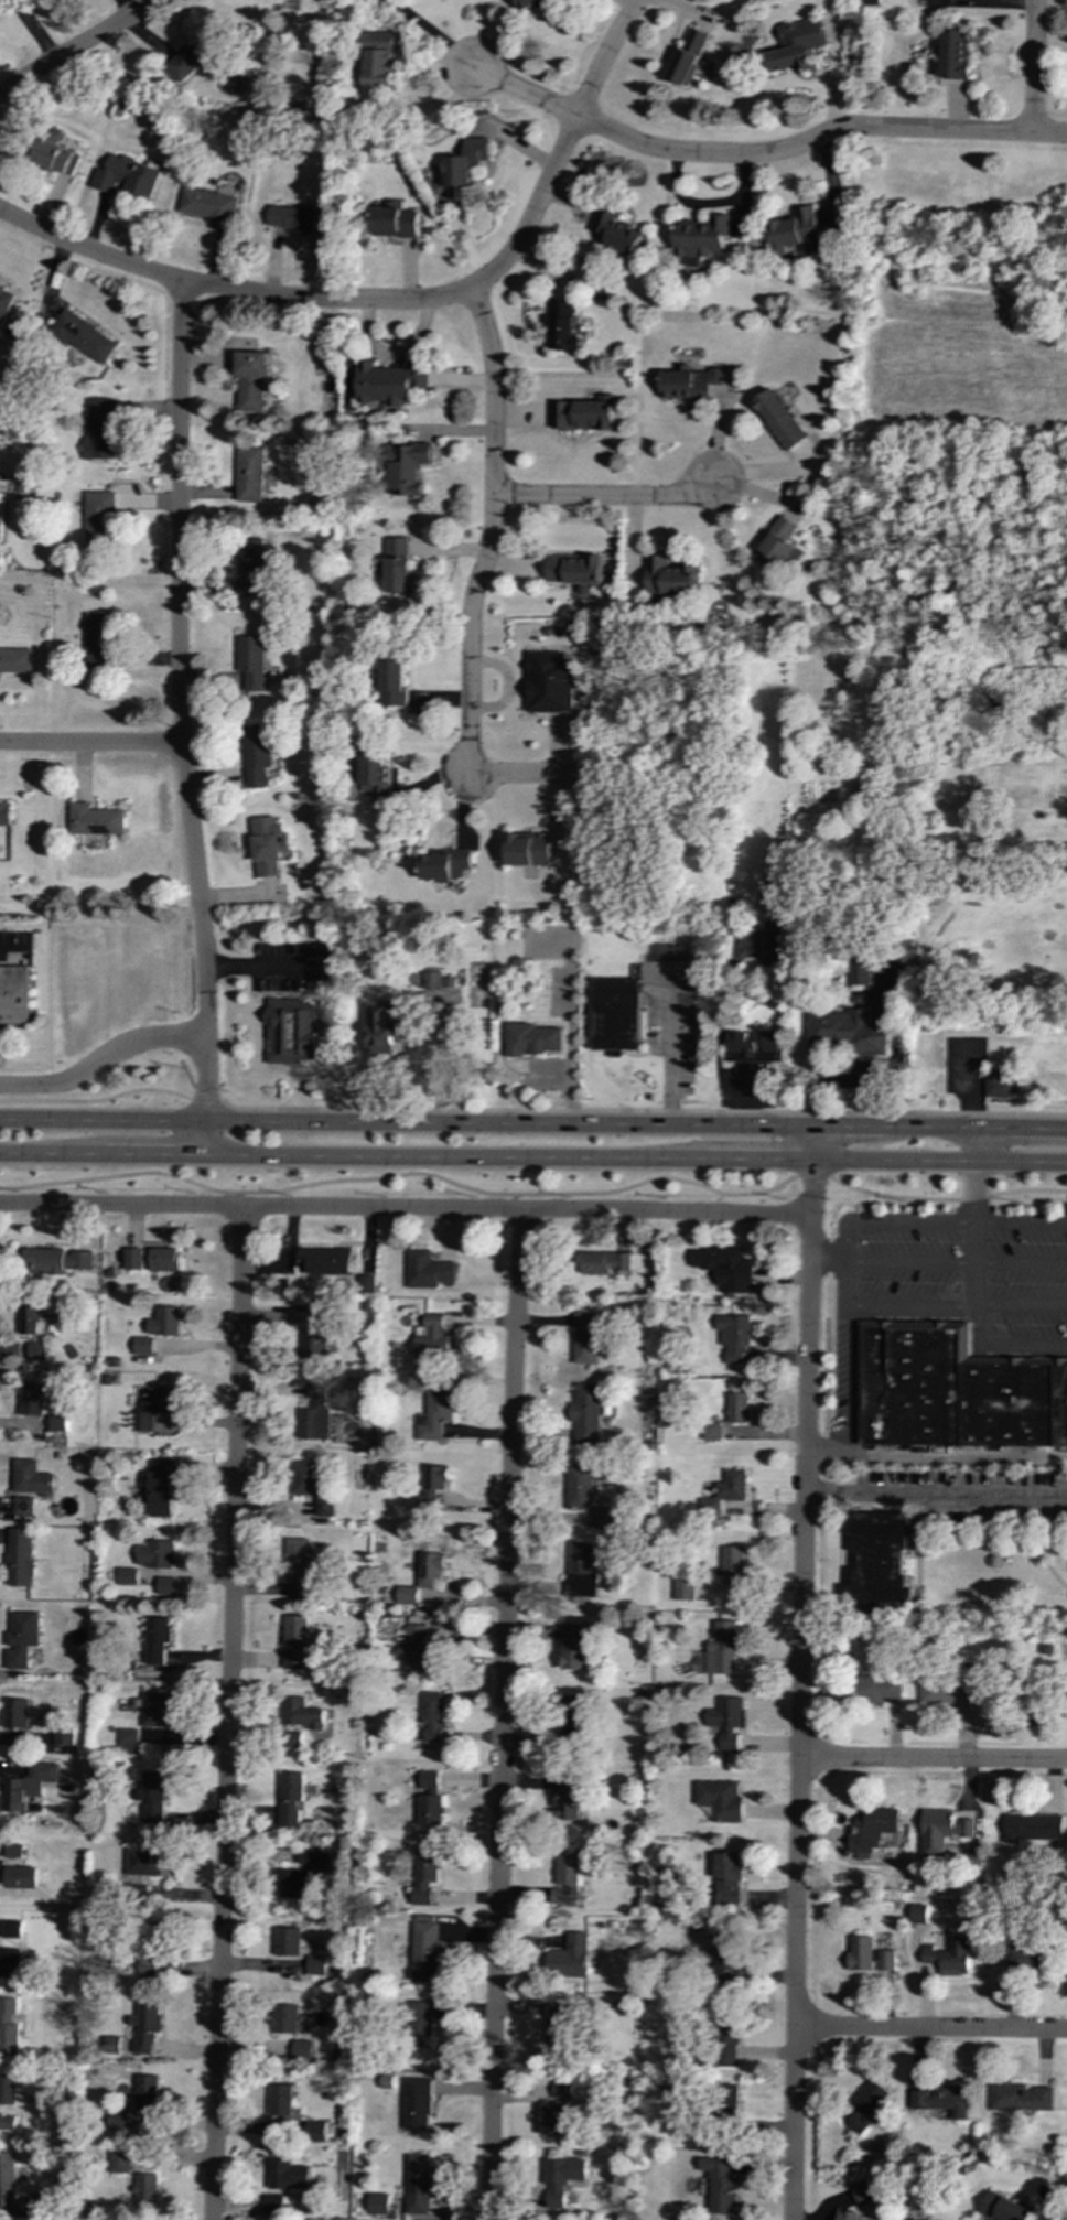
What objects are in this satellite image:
building: (531, 3)
building: (798, 46)
road: (75, 50)
building: (955, 55)
building: (195, 56)
building: (689, 56)
road: (604, 57)
road: (1033, 66)
road: (517, 91)
road: (817, 138)
building: (54, 155)
building: (463, 168)
building: (126, 176)
building: (207, 205)
building: (295, 218)
building: (392, 219)
building: (798, 231)
building: (617, 233)
building: (702, 237)
road: (331, 300)
building: (6, 302)
building: (563, 325)
building: (84, 335)
building: (251, 381)
building: (390, 381)
building: (690, 382)
building: (585, 413)
building: (779, 419)
building: (100, 429)
building: (406, 467)
building: (248, 474)
road: (606, 497)
building: (97, 517)
road: (492, 531)
building: (778, 545)
building: (255, 564)
building: (399, 565)
building: (579, 571)
building: (671, 576)
building: (96, 639)
building: (15, 660)
building: (250, 661)
building: (394, 681)
building: (550, 682)
road: (177, 702)
road: (90, 744)
building: (255, 754)
road: (545, 770)
building: (376, 776)
building: (4, 813)
building: (95, 819)
building: (268, 844)
building: (528, 849)
building: (445, 864)
building: (769, 948)
road: (8, 951)
road: (259, 967)
building: (860, 972)
building: (439, 988)
building: (13, 994)
road: (569, 1013)
building: (617, 1015)
building: (381, 1028)
building: (291, 1031)
building: (848, 1034)
building: (531, 1039)
building: (754, 1047)
road: (669, 1050)
road: (101, 1059)
road: (839, 1065)
road: (815, 1075)
road: (551, 1076)
road: (845, 1081)
building: (1002, 1087)
road: (96, 1100)
road: (206, 1100)
road: (971, 1104)
road: (643, 1111)
road: (407, 1121)
road: (847, 1127)
road: (927, 1128)
road: (1020, 1129)
road: (205, 1138)
road: (815, 1144)
road: (53, 1154)
road: (154, 1155)
road: (454, 1159)
road: (759, 1162)
road: (920, 1163)
road: (1046, 1164)
road: (536, 1194)
road: (231, 1198)
road: (515, 1200)
road: (406, 1206)
road: (891, 1221)
road: (1022, 1224)
road: (977, 1232)
building: (133, 1259)
building: (165, 1259)
building: (57, 1260)
building: (325, 1260)
building: (604, 1262)
road: (828, 1262)
road: (910, 1264)
road: (1021, 1265)
building: (725, 1267)
building: (428, 1270)
road: (844, 1283)
building: (367, 1284)
road: (909, 1304)
road: (1021, 1304)
building: (30, 1319)
building: (165, 1321)
building: (586, 1337)
building: (735, 1337)
building: (436, 1339)
road: (1002, 1343)
building: (143, 1346)
building: (314, 1346)
building: (36, 1350)
road: (843, 1378)
building: (953, 1390)
building: (31, 1399)
building: (155, 1407)
building: (737, 1408)
building: (436, 1414)
building: (588, 1414)
building: (315, 1415)
building: (57, 1423)
building: (711, 1431)
road: (824, 1450)
building: (305, 1477)
building: (584, 1484)
building: (29, 1485)
building: (434, 1487)
building: (161, 1488)
building: (725, 1491)
road: (936, 1492)
building: (325, 1507)
building: (606, 1517)
building: (155, 1554)
building: (20, 1556)
building: (881, 1561)
building: (733, 1564)
building: (301, 1566)
building: (581, 1571)
building: (127, 1576)
building: (423, 1580)
building: (166, 1585)
building: (683, 1588)
building: (21, 1638)
building: (157, 1639)
building: (293, 1640)
building: (575, 1646)
building: (722, 1648)
building: (419, 1650)
building: (875, 1688)
road: (800, 1691)
building: (948, 1691)
building: (153, 1710)
road: (226, 1712)
building: (15, 1713)
building: (299, 1713)
road: (503, 1714)
building: (571, 1716)
building: (432, 1718)
building: (725, 1721)
building: (63, 1736)
building: (292, 1737)
building: (127, 1741)
road: (933, 1760)
building: (26, 1786)
building: (152, 1797)
building: (568, 1798)
building: (289, 1799)
building: (430, 1799)
building: (720, 1799)
building: (1033, 1826)
building: (872, 1829)
building: (941, 1831)
building: (12, 1851)
building: (311, 1857)
building: (143, 1862)
building: (425, 1875)
building: (19, 1877)
building: (567, 1878)
building: (729, 1879)
building: (290, 1883)
building: (916, 1914)
building: (10, 1929)
building: (287, 1941)
building: (151, 1949)
building: (424, 1950)
building: (727, 1955)
building: (870, 1955)
building: (949, 1957)
building: (569, 1958)
building: (1024, 1959)
building: (9, 1962)
building: (315, 1969)
building: (284, 2018)
building: (419, 2024)
building: (8, 2025)
building: (144, 2027)
building: (559, 2028)
road: (931, 2028)
building: (726, 2038)
building: (111, 2044)
building: (301, 2049)
building: (7, 2090)
building: (561, 2090)
building: (145, 2093)
building: (727, 2094)
building: (1021, 2097)
building: (279, 2100)
building: (944, 2100)
building: (416, 2103)
building: (864, 2106)
building: (554, 2120)
building: (314, 2131)
building: (128, 2160)
building: (287, 2175)
building: (560, 2178)
building: (7, 2181)
building: (418, 2184)
building: (720, 2185)
building: (147, 2190)
building: (862, 2191)
building: (43, 2202)
building: (377, 2203)
building: (280, 2205)
building: (1005, 2208)
building: (848, 2214)

